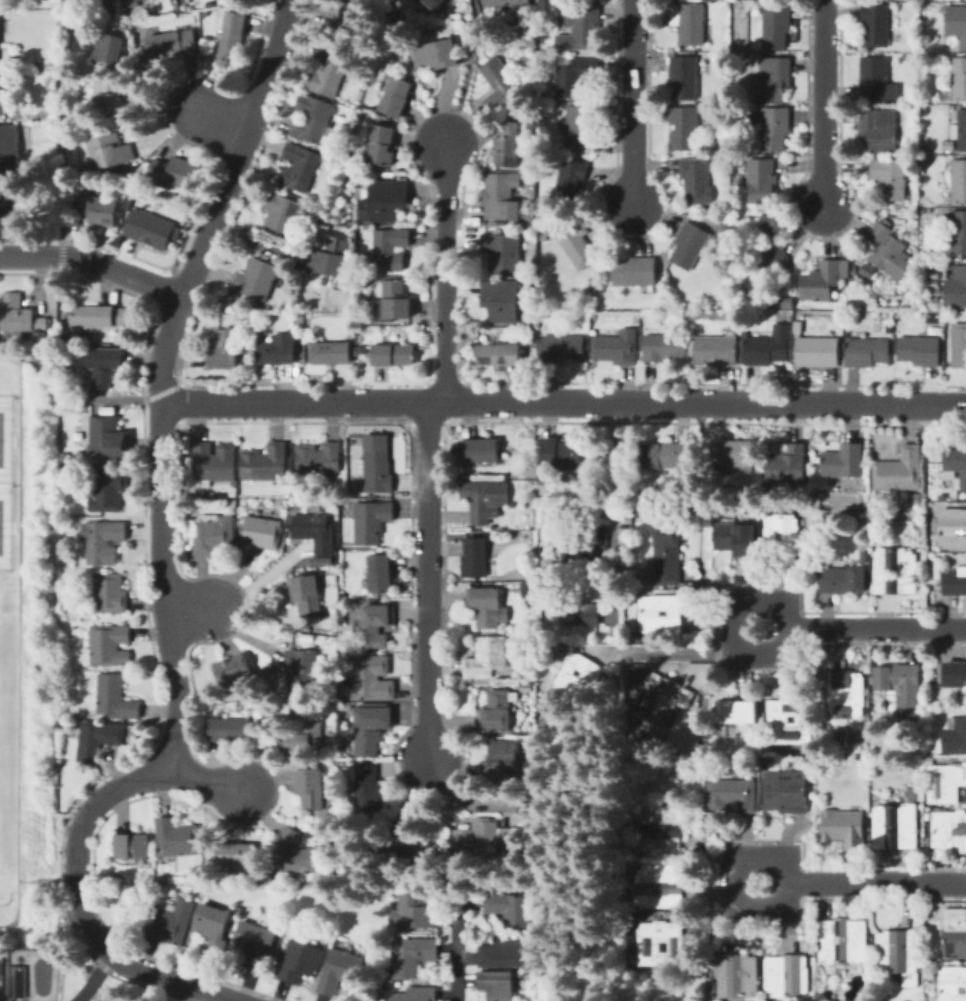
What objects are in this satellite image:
building: (431, 3)
building: (459, 3)
building: (508, 3)
building: (543, 8)
building: (347, 18)
building: (689, 23)
building: (956, 23)
building: (876, 25)
building: (579, 26)
building: (776, 26)
building: (525, 31)
building: (231, 38)
building: (169, 45)
building: (107, 48)
building: (437, 54)
building: (329, 73)
road: (467, 73)
building: (575, 76)
building: (684, 77)
building: (773, 80)
building: (876, 80)
building: (956, 81)
building: (503, 85)
building: (543, 93)
building: (2, 94)
building: (925, 96)
building: (397, 97)
building: (111, 99)
road: (635, 104)
road: (825, 104)
road: (61, 119)
building: (314, 119)
road: (232, 120)
building: (580, 125)
building: (773, 127)
building: (683, 128)
building: (878, 130)
building: (960, 130)
building: (508, 144)
building: (382, 145)
building: (949, 145)
building: (928, 148)
building: (3, 149)
building: (110, 151)
building: (916, 152)
building: (300, 168)
building: (174, 172)
building: (890, 178)
building: (571, 180)
building: (696, 180)
building: (761, 180)
building: (959, 181)
building: (501, 196)
building: (384, 201)
building: (93, 205)
building: (16, 206)
building: (282, 214)
building: (900, 220)
building: (150, 229)
building: (957, 230)
building: (577, 243)
building: (690, 245)
building: (390, 248)
building: (766, 248)
building: (888, 251)
building: (503, 252)
road: (63, 255)
building: (330, 258)
road: (93, 260)
building: (865, 270)
building: (635, 272)
road: (446, 274)
building: (856, 275)
building: (256, 280)
building: (821, 282)
building: (956, 289)
building: (396, 300)
building: (501, 300)
building: (935, 300)
building: (790, 303)
building: (352, 307)
building: (19, 314)
building: (293, 314)
building: (98, 316)
building: (738, 323)
building: (798, 327)
road: (63, 333)
building: (262, 333)
building: (530, 338)
building: (959, 345)
building: (769, 346)
building: (663, 347)
building: (362, 348)
building: (562, 348)
building: (225, 349)
building: (615, 349)
building: (279, 350)
building: (716, 350)
building: (919, 350)
building: (817, 352)
building: (867, 352)
building: (332, 353)
building: (394, 355)
building: (499, 355)
building: (103, 365)
road: (154, 393)
road: (63, 394)
road: (14, 396)
road: (564, 403)
park: (0, 438)
building: (108, 438)
building: (480, 450)
building: (355, 451)
building: (561, 455)
building: (664, 455)
building: (735, 455)
building: (319, 458)
building: (214, 462)
building: (844, 462)
building: (265, 463)
building: (956, 463)
building: (788, 465)
building: (376, 468)
building: (899, 471)
road: (614, 472)
building: (532, 475)
road: (14, 484)
building: (533, 486)
building: (108, 490)
building: (233, 492)
building: (377, 495)
building: (942, 497)
building: (485, 499)
building: (914, 500)
building: (231, 507)
park: (0, 517)
building: (372, 521)
building: (918, 525)
building: (952, 529)
building: (289, 531)
building: (315, 532)
building: (260, 534)
building: (214, 535)
building: (782, 536)
building: (736, 538)
building: (104, 542)
building: (63, 548)
building: (589, 548)
building: (669, 554)
building: (866, 557)
building: (475, 558)
road: (162, 559)
building: (379, 573)
building: (907, 574)
building: (842, 580)
road: (426, 583)
building: (955, 583)
building: (110, 594)
building: (307, 595)
building: (533, 600)
building: (486, 606)
road: (192, 608)
building: (578, 609)
building: (662, 614)
road: (722, 622)
building: (376, 625)
road: (874, 626)
road: (729, 628)
building: (519, 640)
road: (18, 643)
building: (108, 646)
road: (674, 652)
building: (346, 657)
building: (487, 658)
building: (234, 669)
building: (303, 671)
building: (955, 674)
building: (581, 675)
building: (372, 679)
building: (525, 688)
building: (900, 689)
building: (847, 694)
building: (742, 695)
building: (115, 699)
building: (664, 699)
building: (499, 712)
building: (736, 712)
building: (546, 721)
building: (789, 721)
building: (680, 723)
road: (699, 725)
building: (371, 726)
building: (230, 730)
building: (306, 730)
building: (955, 737)
building: (96, 740)
building: (930, 752)
building: (503, 761)
building: (740, 761)
building: (769, 761)
road: (203, 777)
building: (946, 783)
building: (311, 788)
building: (922, 790)
building: (787, 791)
building: (368, 795)
building: (733, 795)
building: (844, 827)
building: (895, 827)
building: (511, 829)
building: (660, 829)
road: (575, 832)
building: (949, 834)
building: (289, 836)
building: (478, 836)
building: (177, 838)
building: (132, 846)
building: (406, 846)
building: (235, 854)
park: (600, 861)
building: (296, 862)
road: (61, 877)
building: (326, 877)
road: (25, 879)
road: (732, 880)
road: (875, 881)
building: (660, 886)
road: (722, 887)
building: (511, 910)
building: (413, 913)
building: (171, 922)
building: (213, 928)
building: (954, 934)
building: (843, 941)
building: (659, 944)
building: (256, 945)
building: (505, 951)
building: (898, 955)
building: (412, 956)
building: (300, 962)
road: (457, 965)
building: (339, 972)
building: (737, 976)
building: (786, 976)
road: (94, 977)
building: (17, 982)
building: (499, 984)
building: (952, 984)
building: (415, 994)
building: (915, 999)

